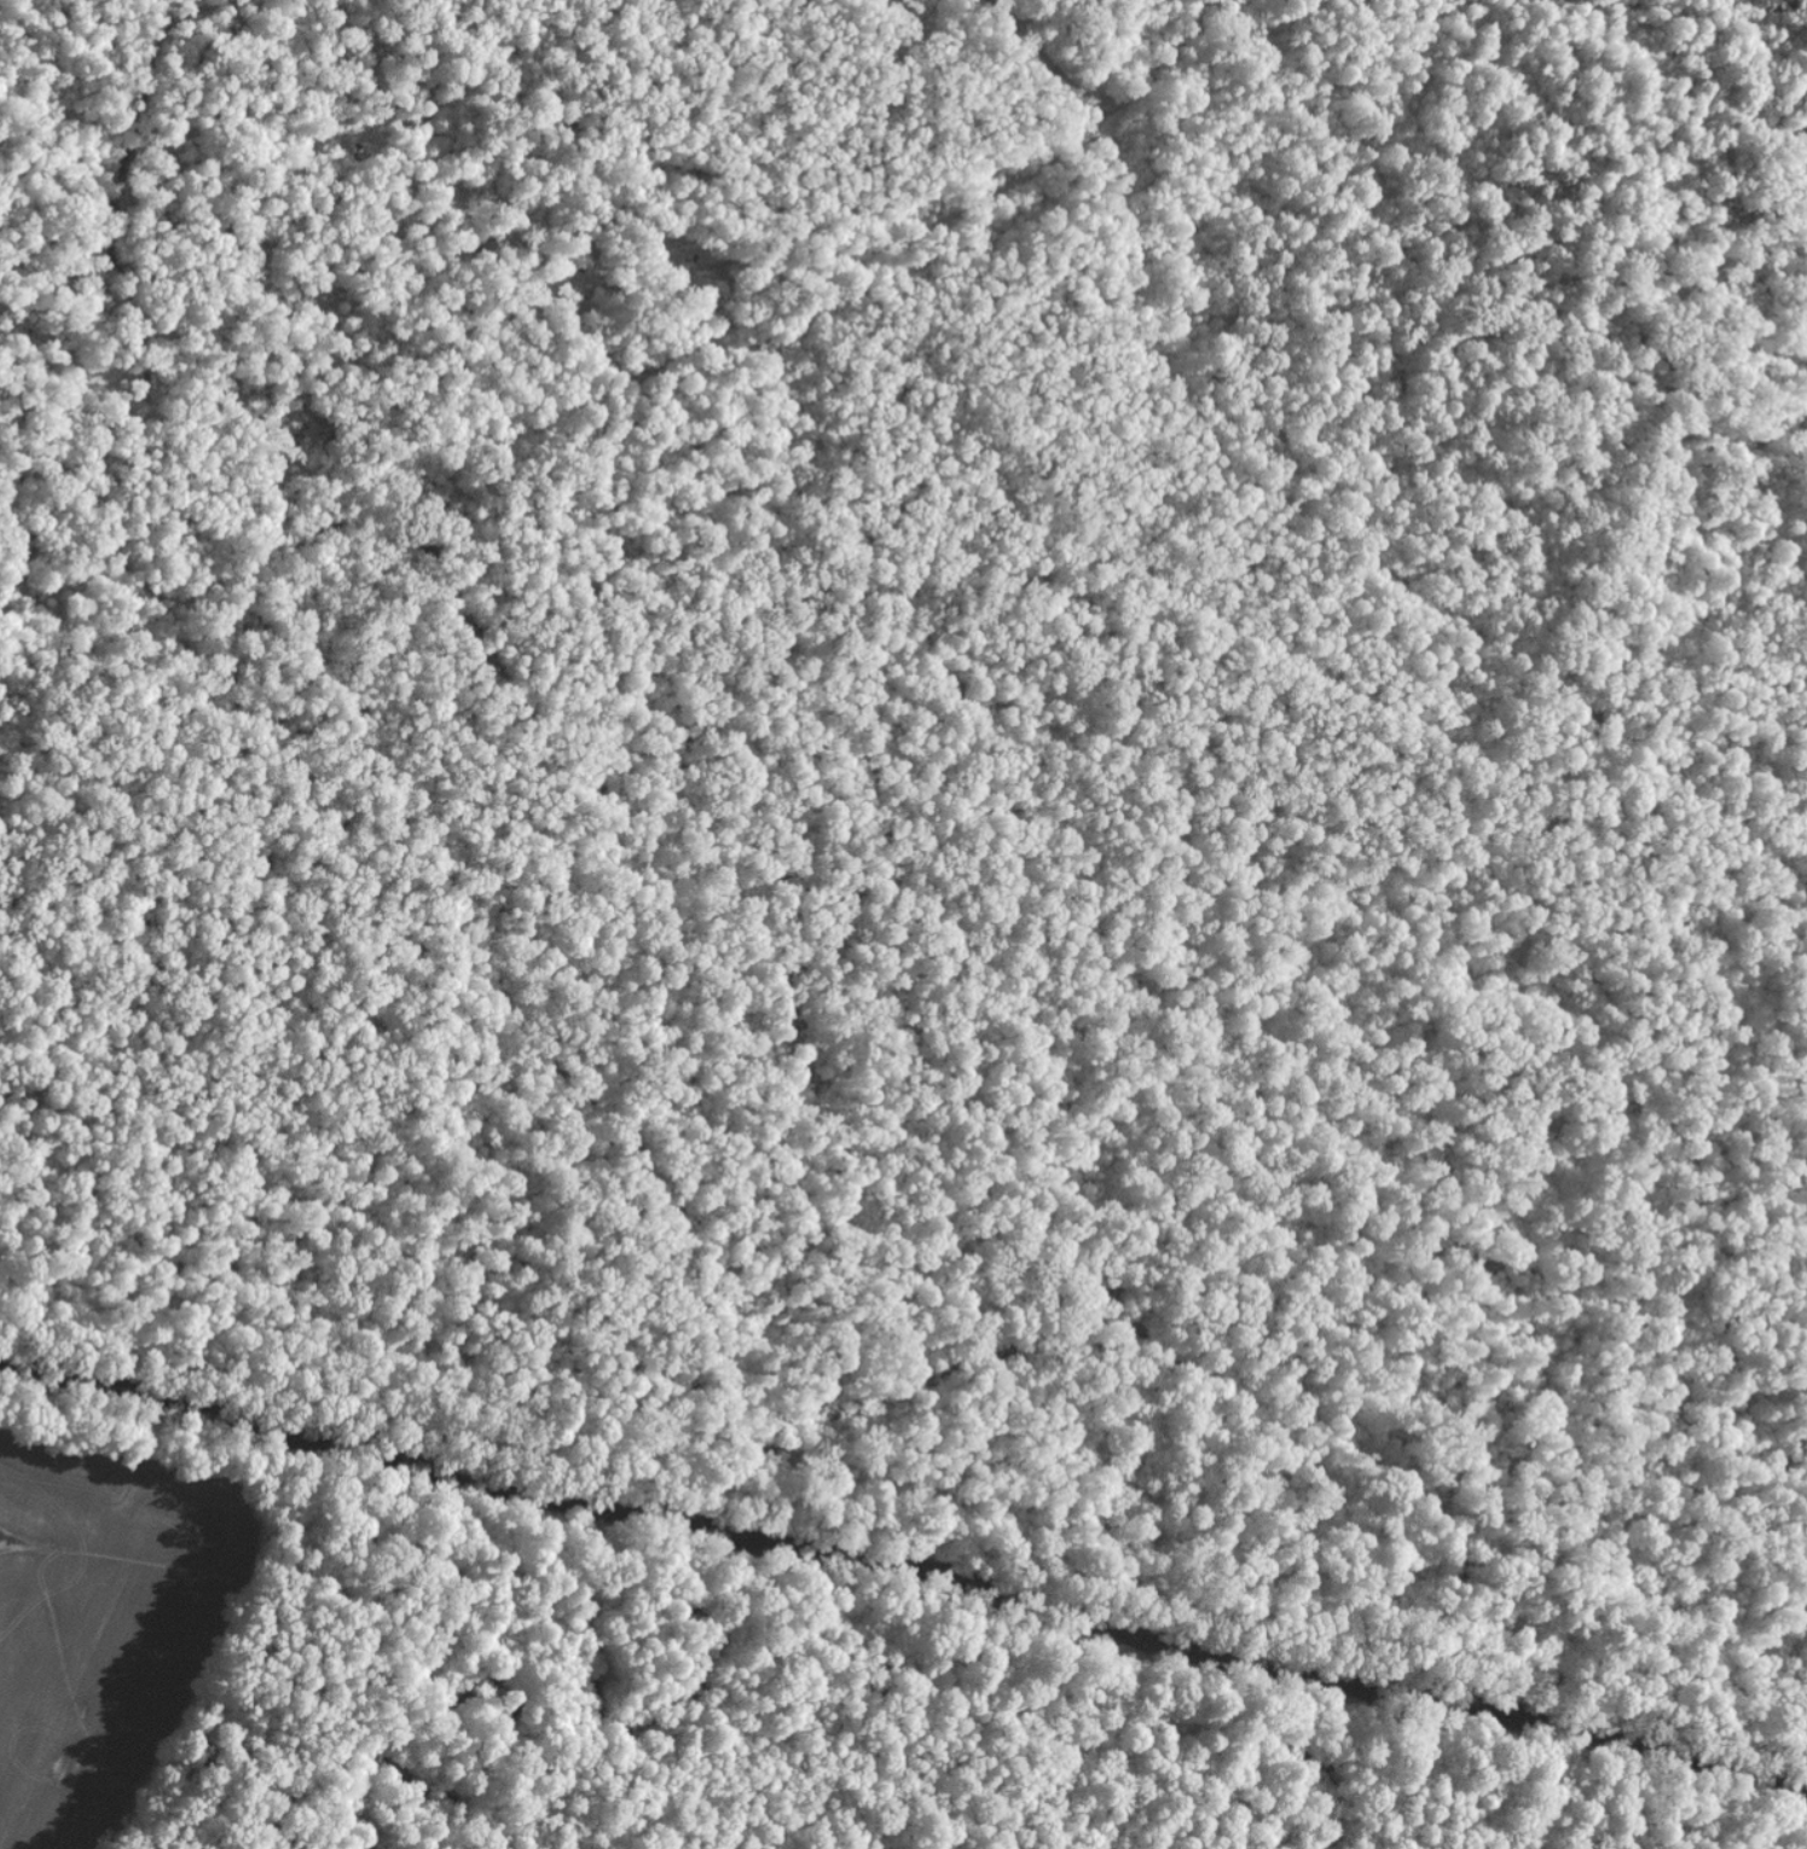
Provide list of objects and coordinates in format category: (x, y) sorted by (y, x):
road: (579, 300)

